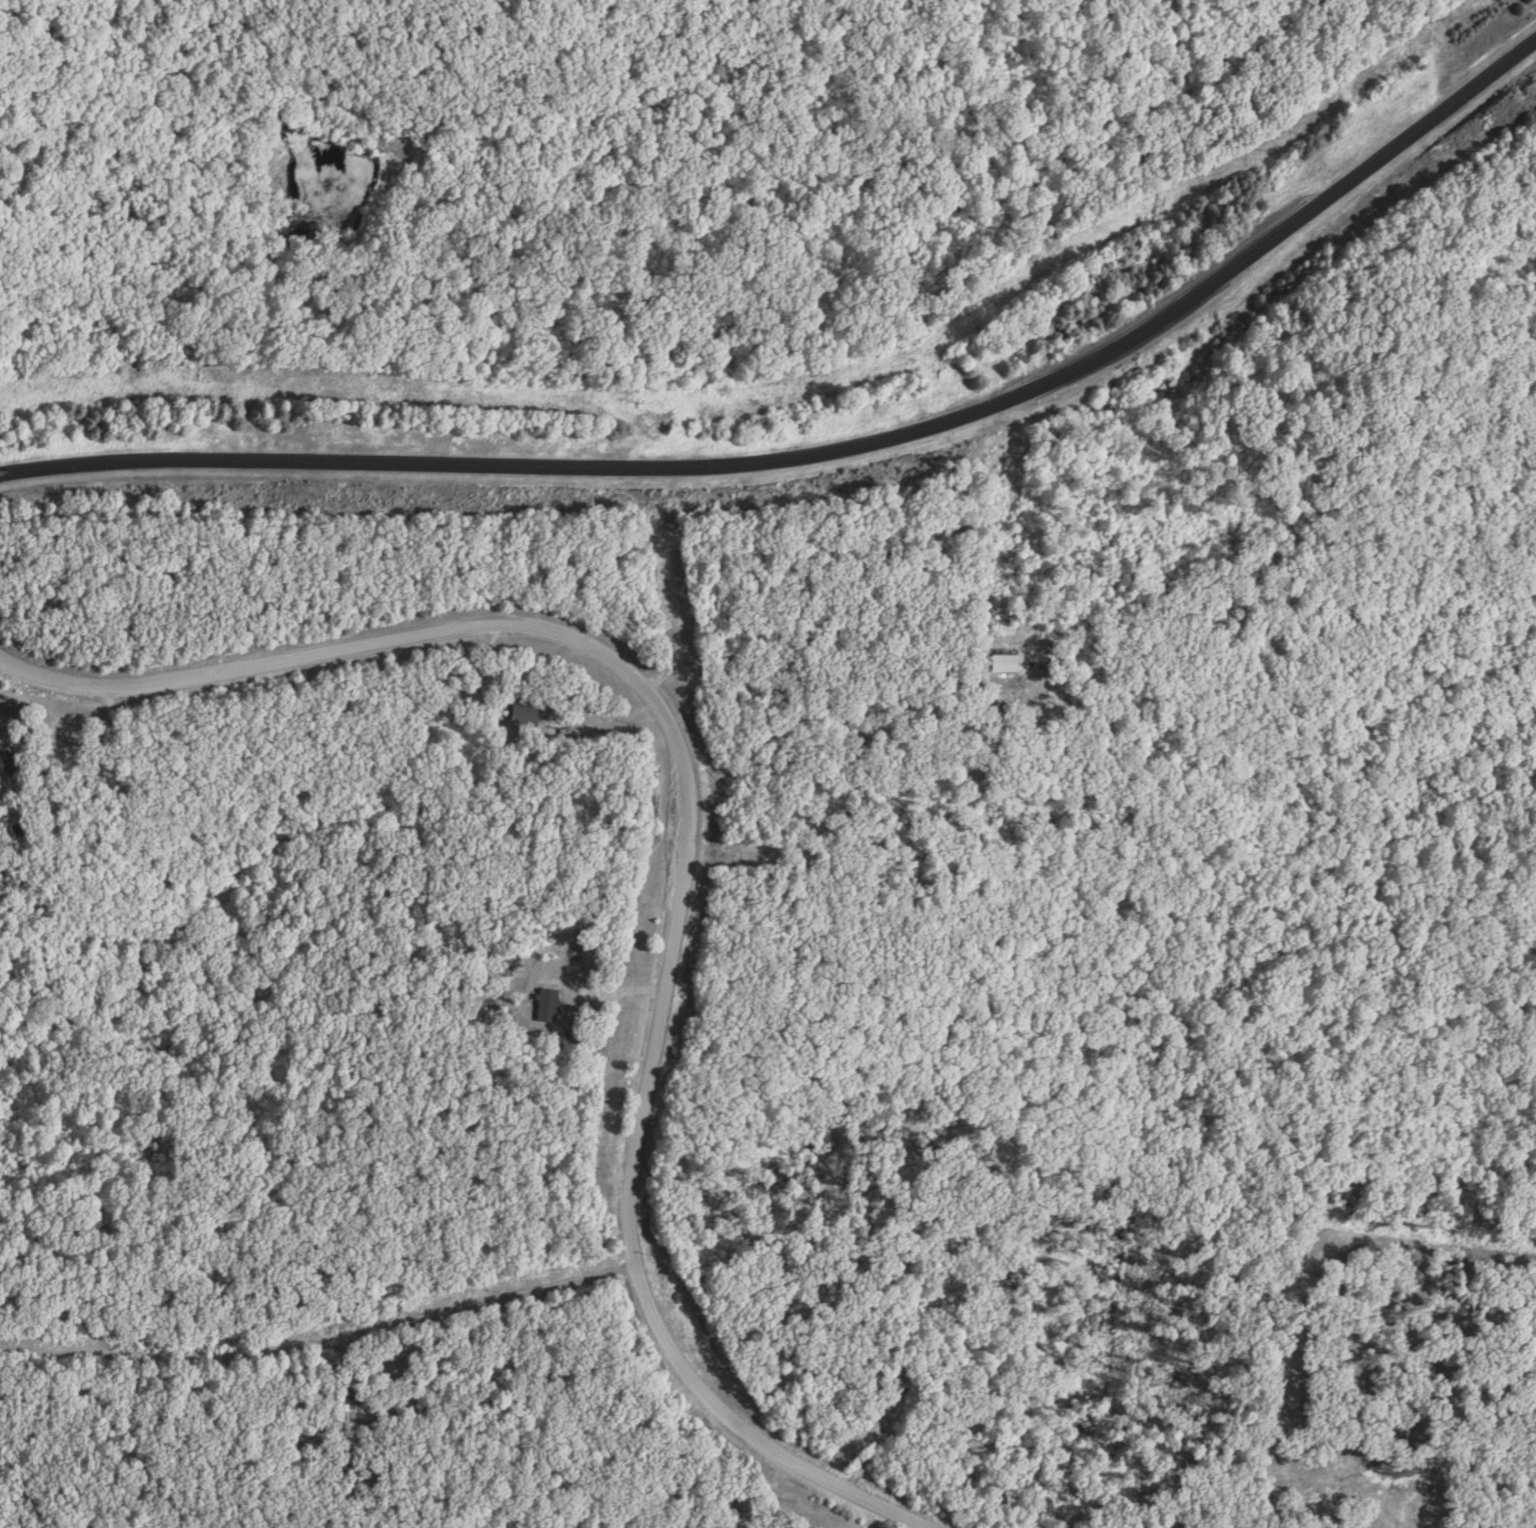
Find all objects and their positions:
road: (826, 457)
road: (676, 589)
road: (688, 842)
road: (876, 1440)

